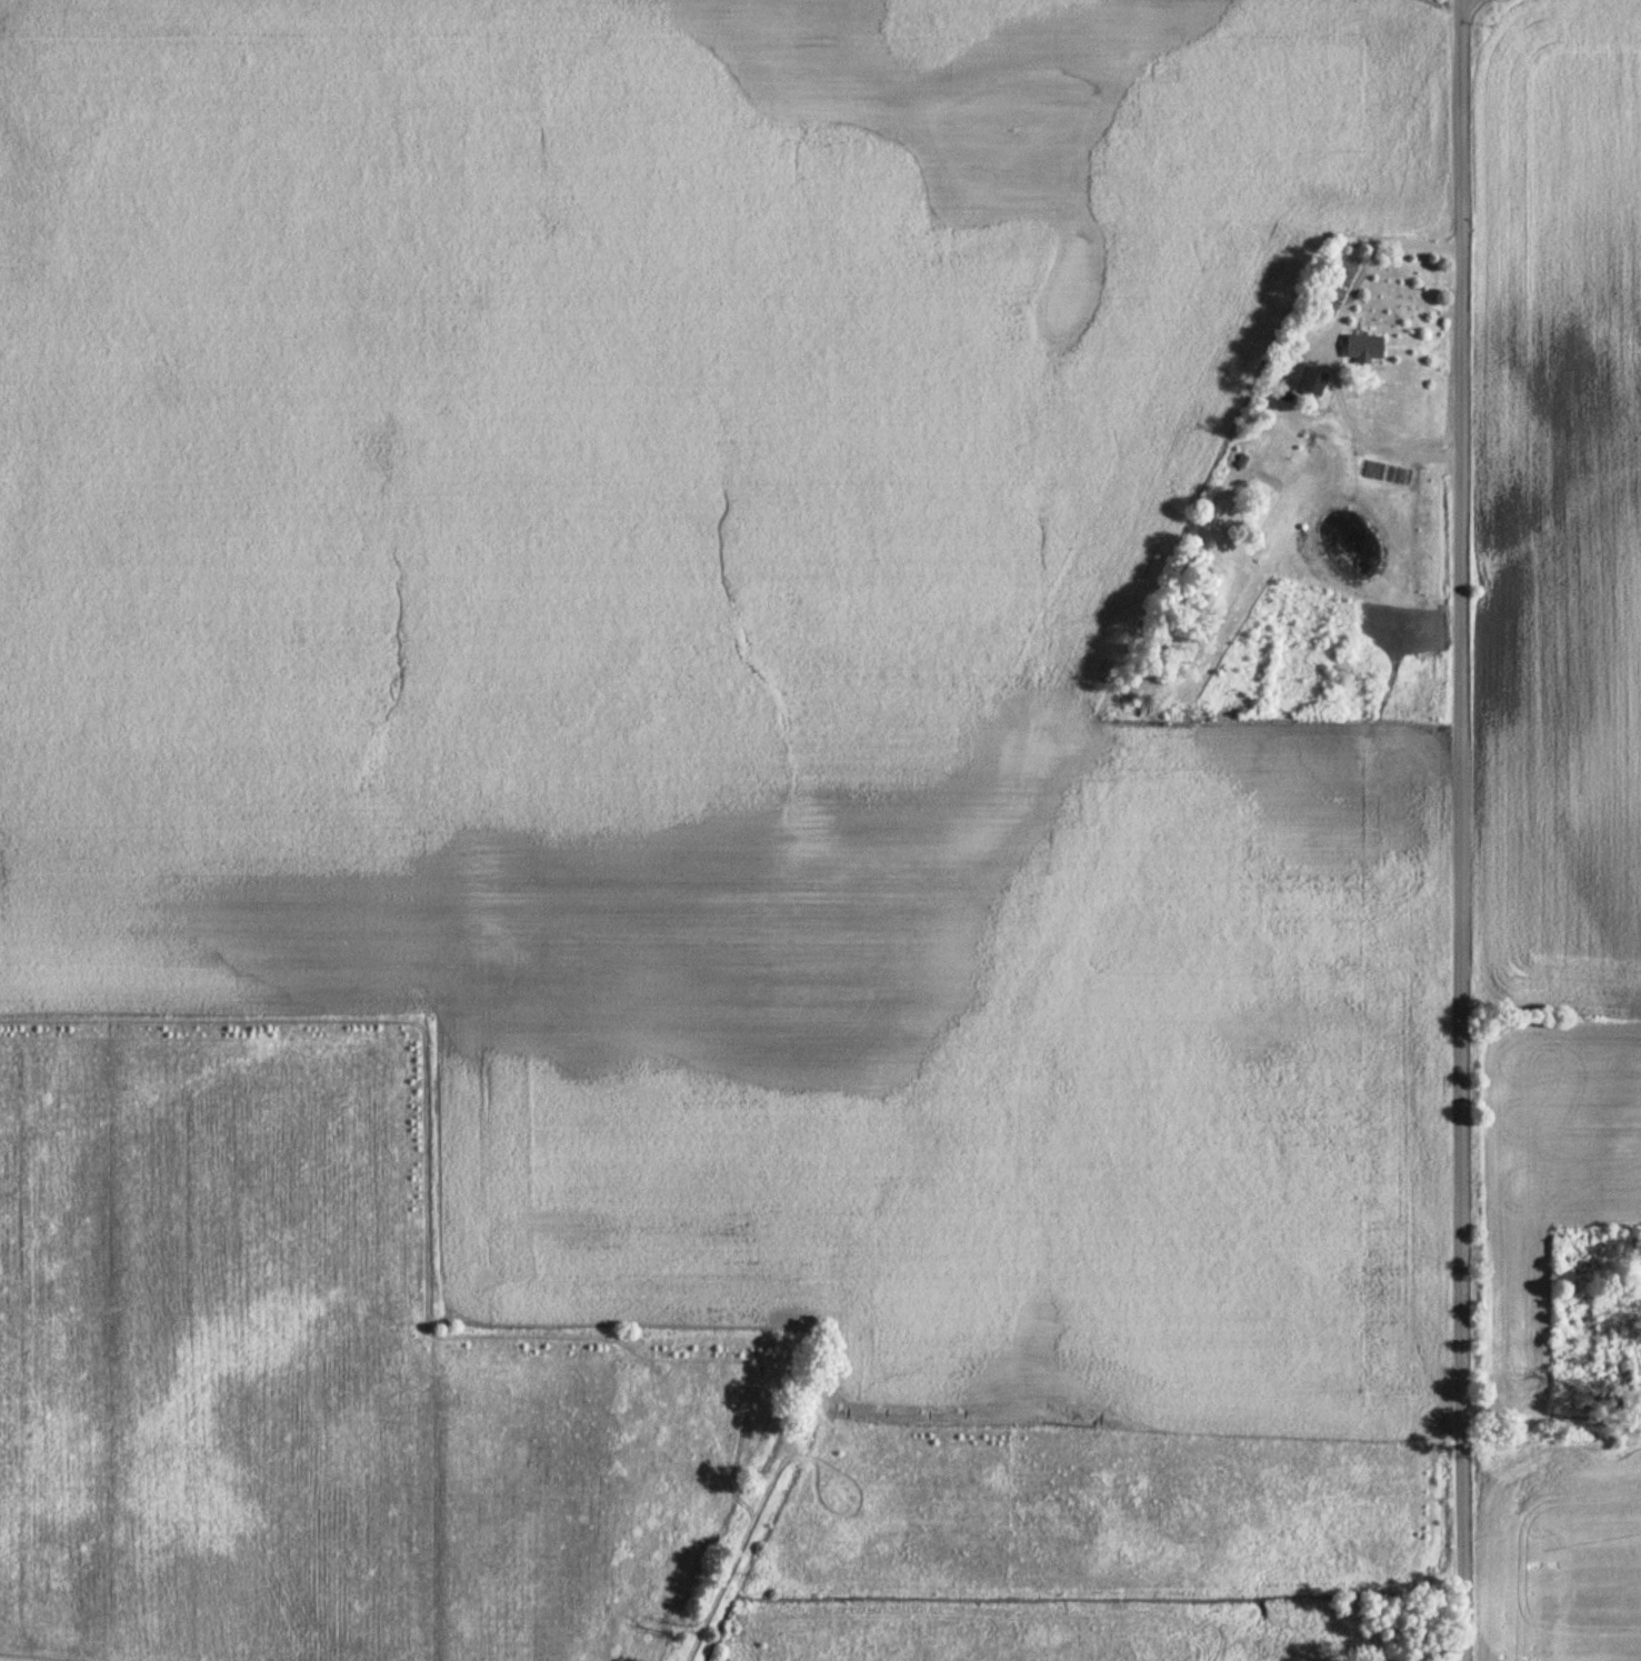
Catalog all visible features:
road: (1325, 346)
building: (1362, 348)
building: (1304, 381)
road: (1463, 830)

